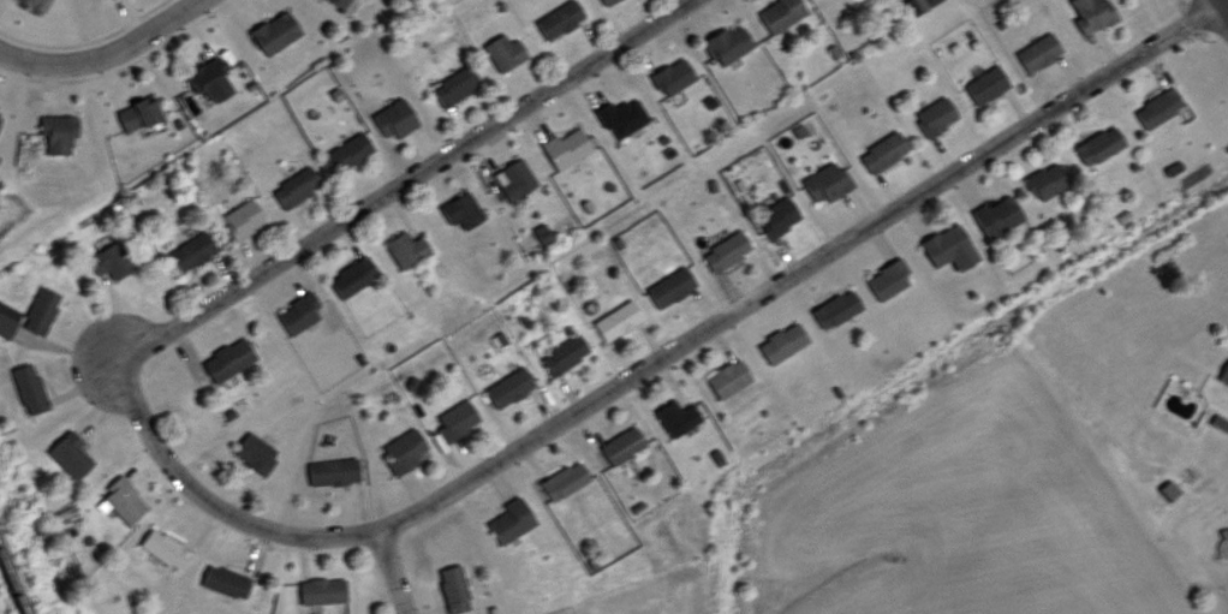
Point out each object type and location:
building: (603, 0)
building: (340, 1)
building: (36, 2)
building: (917, 4)
building: (780, 12)
road: (1217, 13)
building: (1091, 14)
building: (558, 17)
building: (274, 30)
building: (727, 42)
building: (502, 49)
building: (1037, 49)
road: (100, 50)
building: (673, 74)
building: (208, 76)
building: (985, 83)
building: (452, 85)
building: (1157, 106)
building: (137, 112)
building: (934, 113)
building: (0, 114)
building: (620, 114)
building: (393, 117)
building: (58, 130)
building: (1097, 143)
building: (566, 145)
building: (350, 148)
building: (882, 149)
road: (440, 154)
building: (513, 177)
building: (1045, 178)
building: (825, 180)
building: (294, 185)
building: (460, 209)
building: (777, 214)
building: (996, 214)
building: (243, 217)
building: (949, 245)
building: (406, 248)
building: (726, 249)
building: (189, 250)
building: (109, 258)
building: (352, 274)
building: (887, 276)
building: (670, 285)
building: (835, 306)
building: (40, 309)
building: (298, 311)
building: (7, 317)
building: (616, 318)
building: (782, 341)
building: (564, 352)
building: (226, 358)
building: (1223, 371)
building: (728, 376)
building: (28, 386)
building: (508, 386)
road: (607, 387)
building: (675, 416)
building: (455, 418)
building: (1218, 421)
building: (621, 443)
building: (403, 448)
building: (254, 451)
building: (68, 452)
building: (330, 470)
building: (562, 478)
building: (120, 499)
building: (509, 519)
building: (163, 546)
road: (391, 572)
building: (225, 579)
railway: (13, 582)
building: (453, 586)
building: (322, 589)

